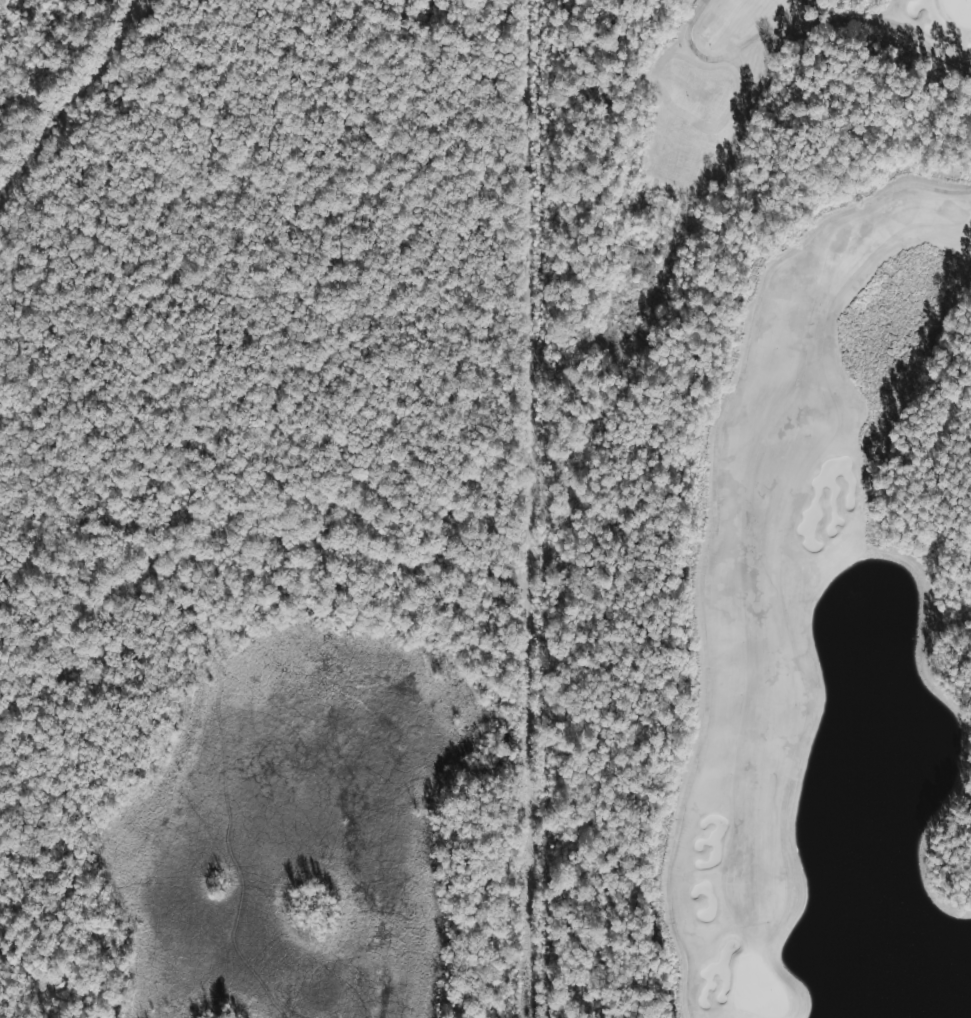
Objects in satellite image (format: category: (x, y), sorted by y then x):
park: (752, 507)
park: (752, 507)

